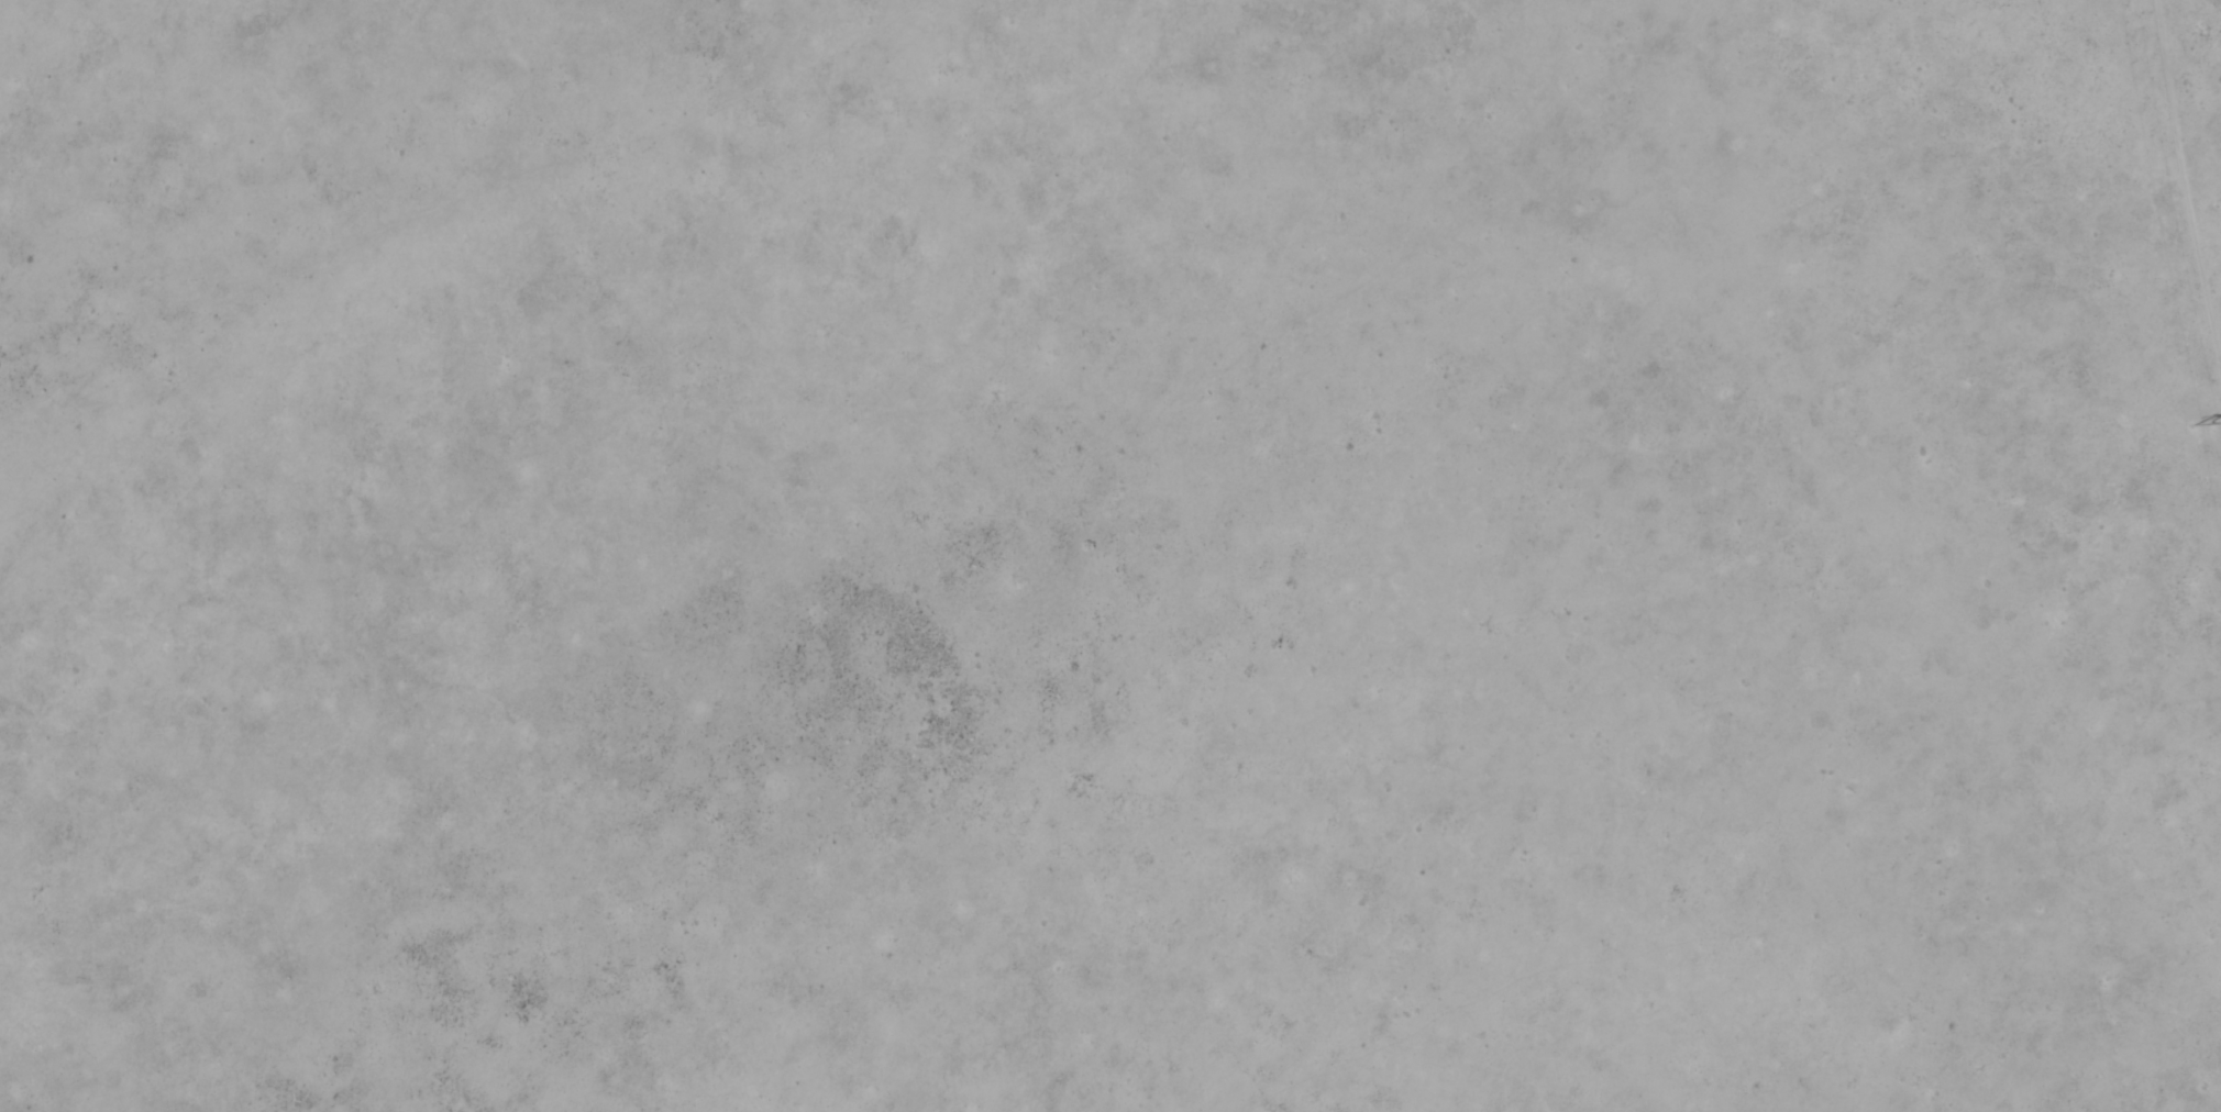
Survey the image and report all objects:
power tower: (2205, 423)

